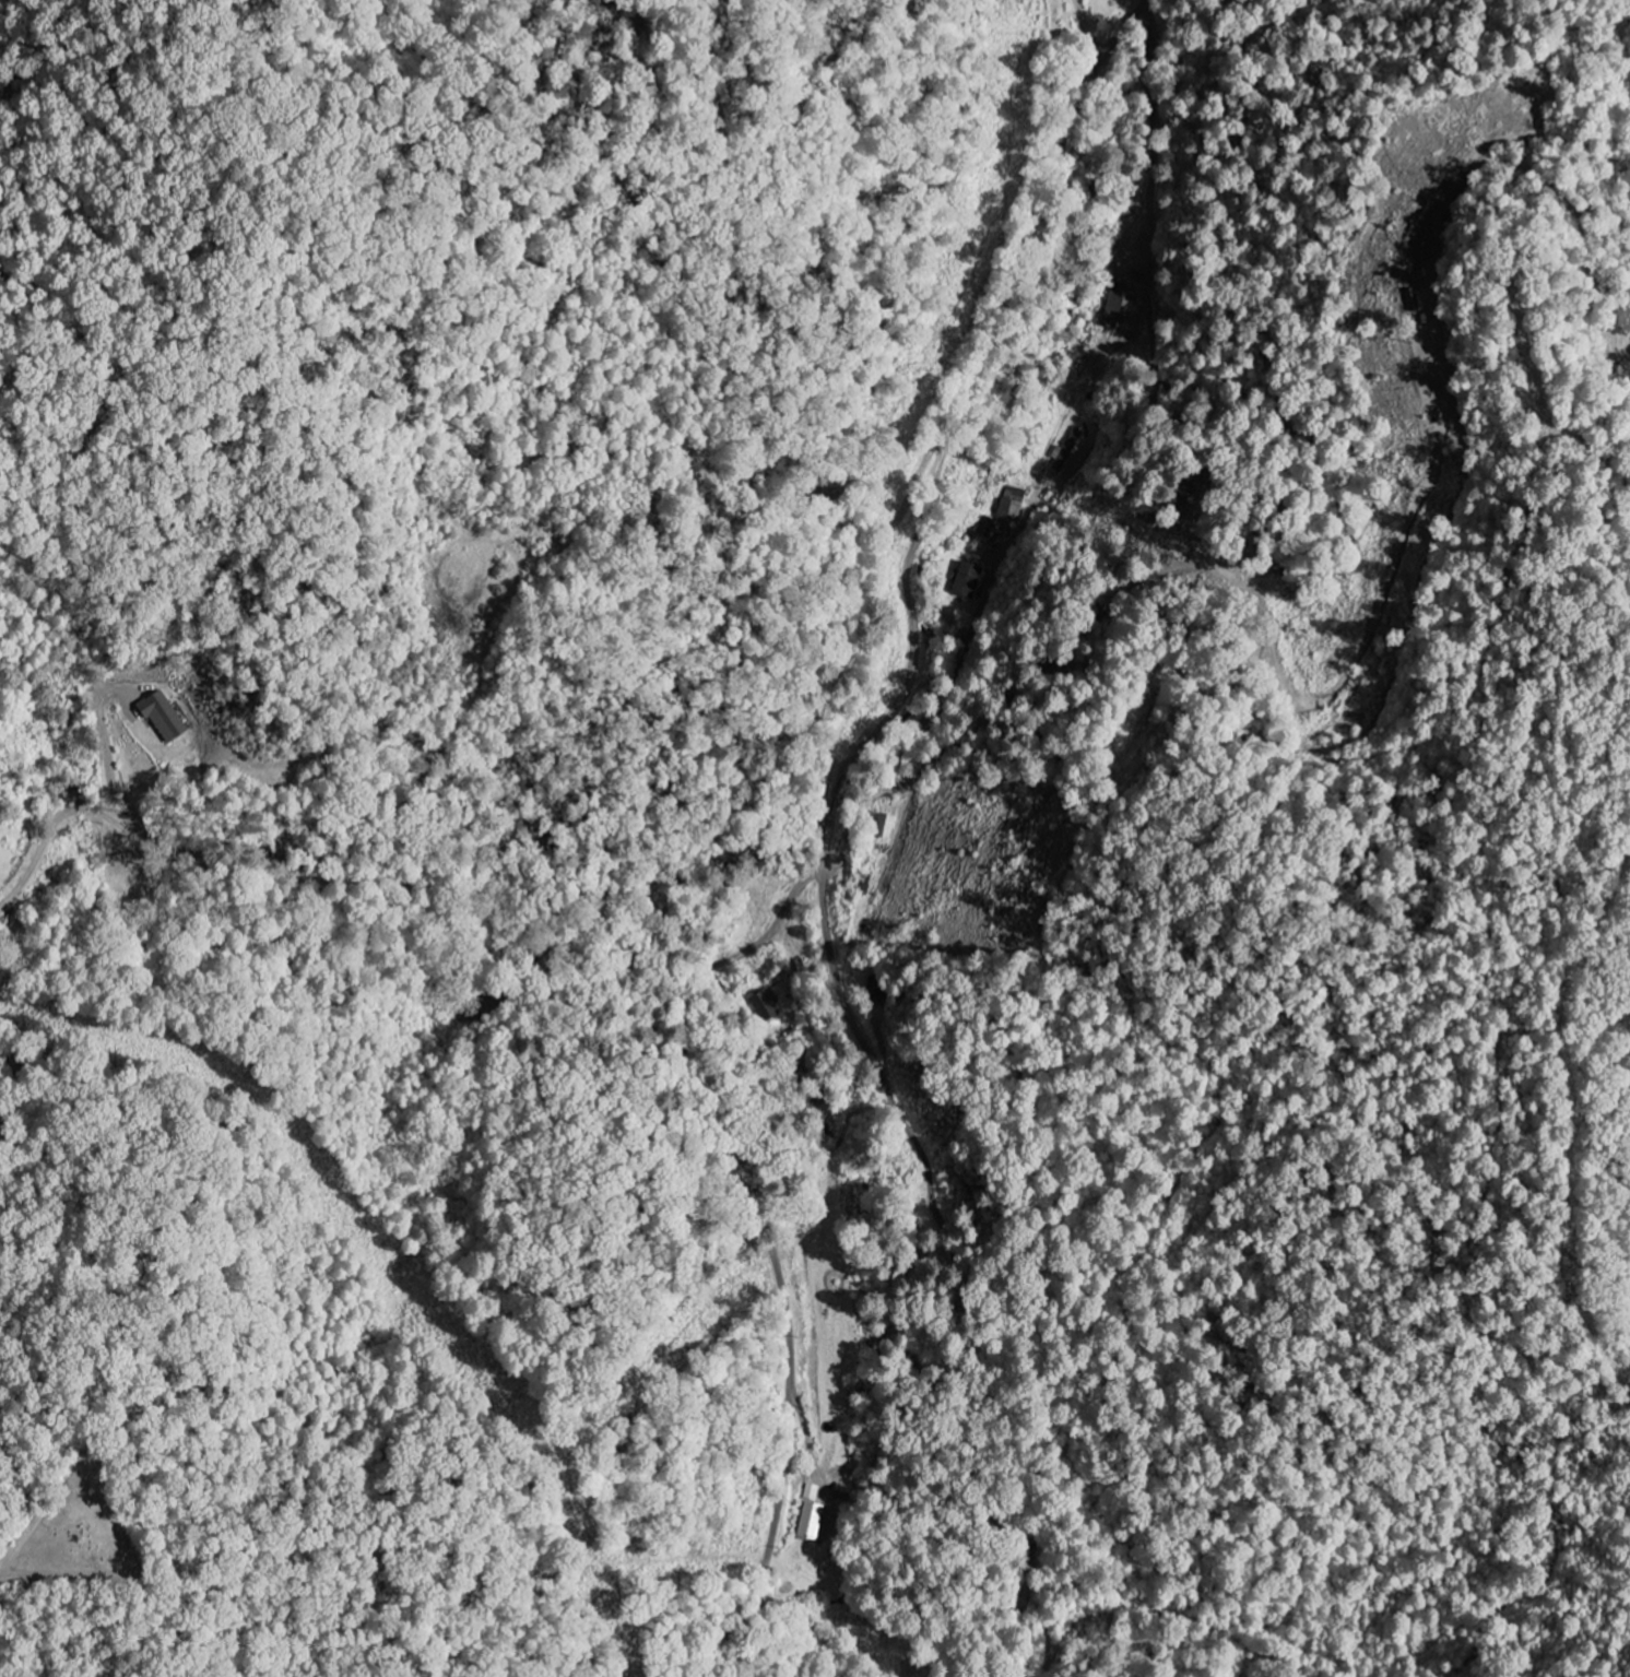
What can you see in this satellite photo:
building: (1063, 457)
building: (1012, 505)
building: (985, 527)
building: (968, 580)
road: (929, 717)
building: (166, 719)
building: (887, 826)
road: (672, 867)
road: (685, 970)
building: (876, 989)
road: (957, 1275)
road: (836, 1438)
building: (815, 1521)
road: (15, 1575)

